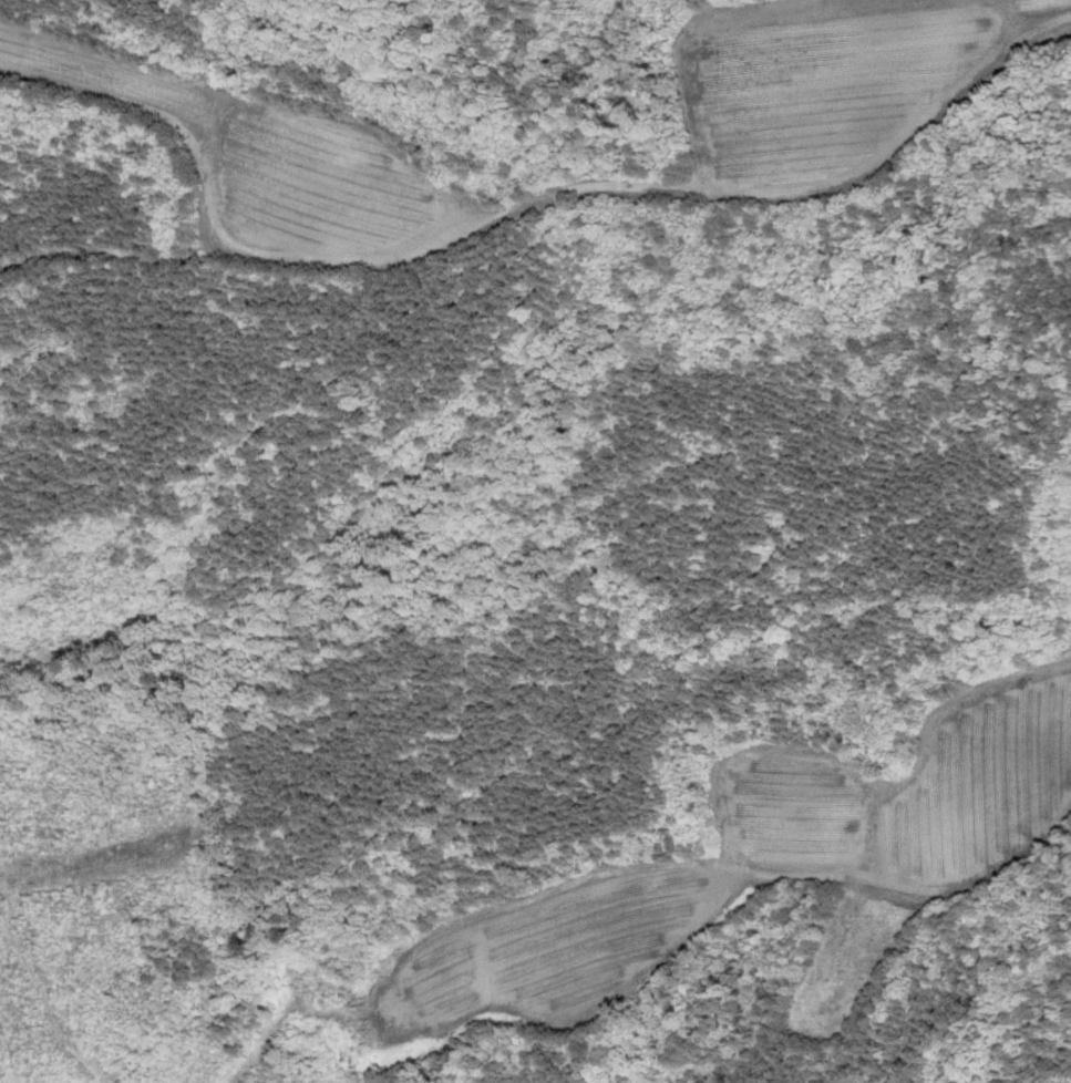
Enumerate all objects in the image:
road: (555, 195)

